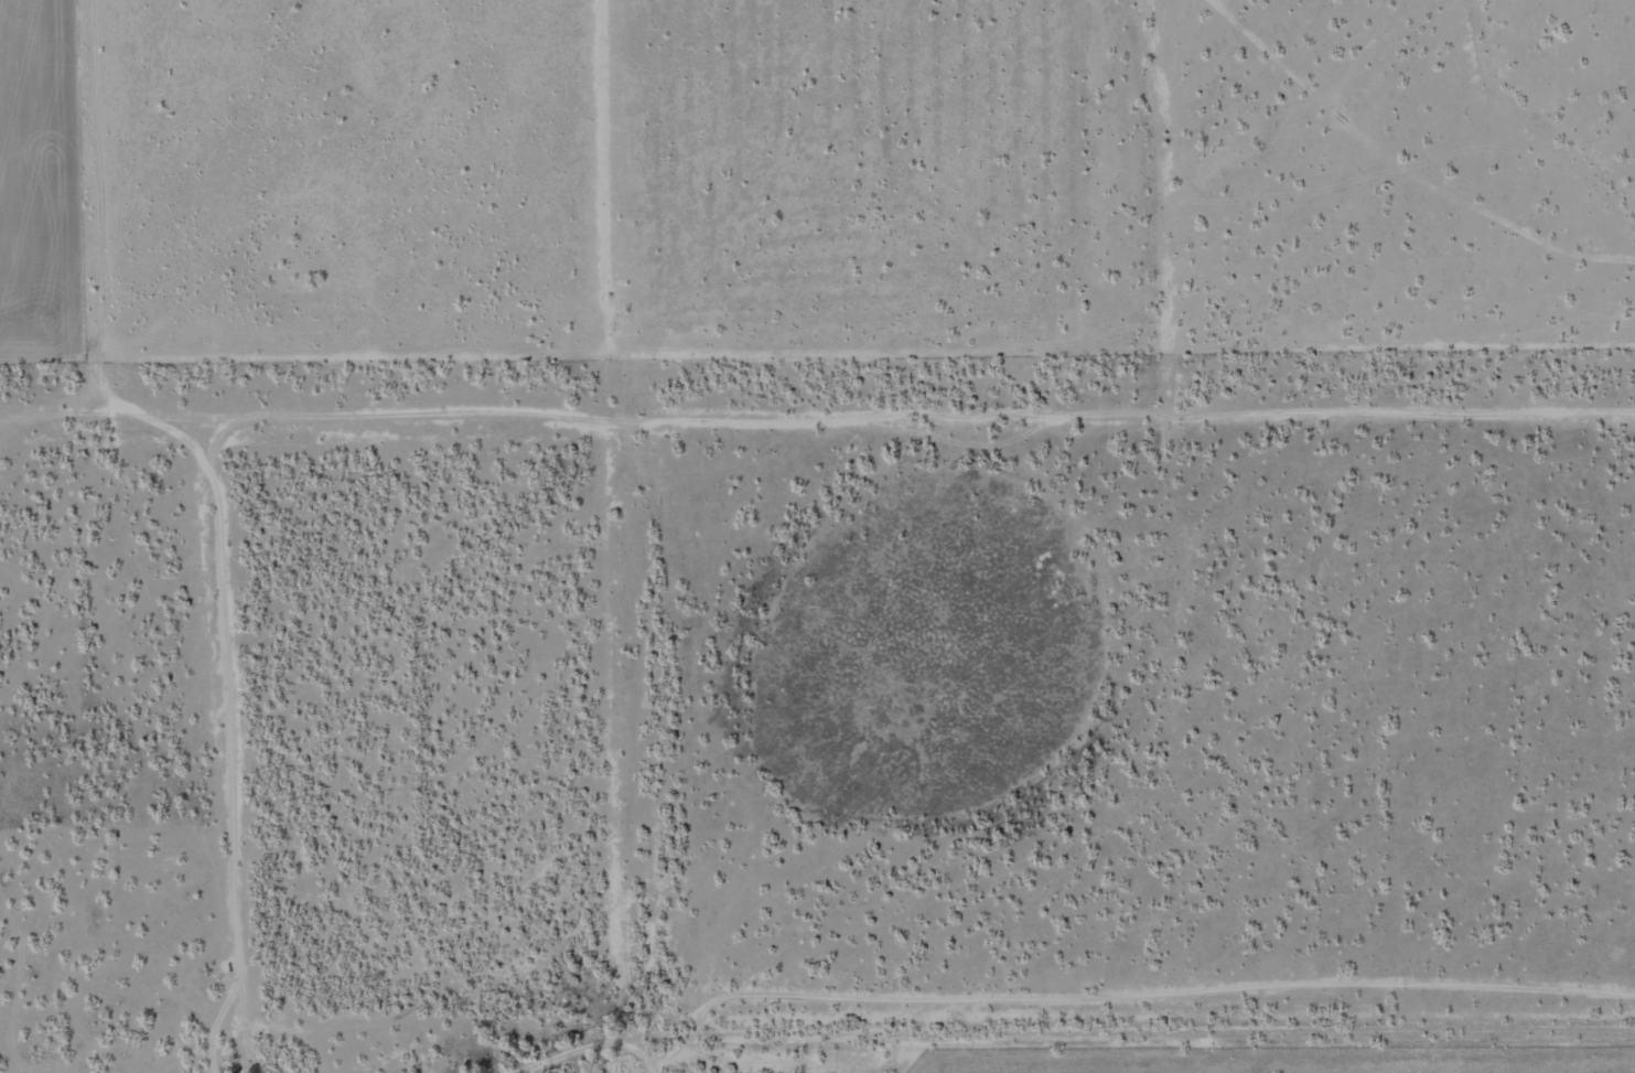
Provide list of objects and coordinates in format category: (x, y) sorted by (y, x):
road: (1563, 1064)

